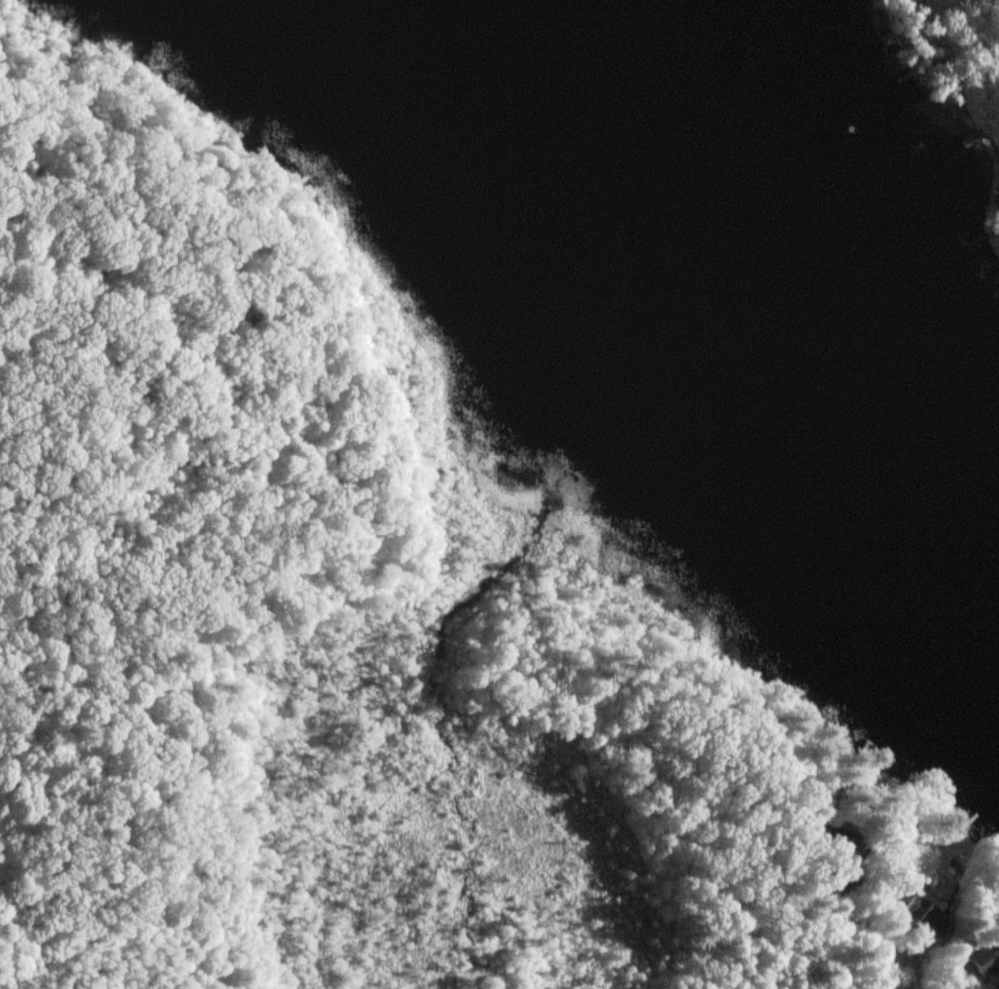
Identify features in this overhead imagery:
building: (837, 879)
building: (912, 917)
building: (982, 968)

